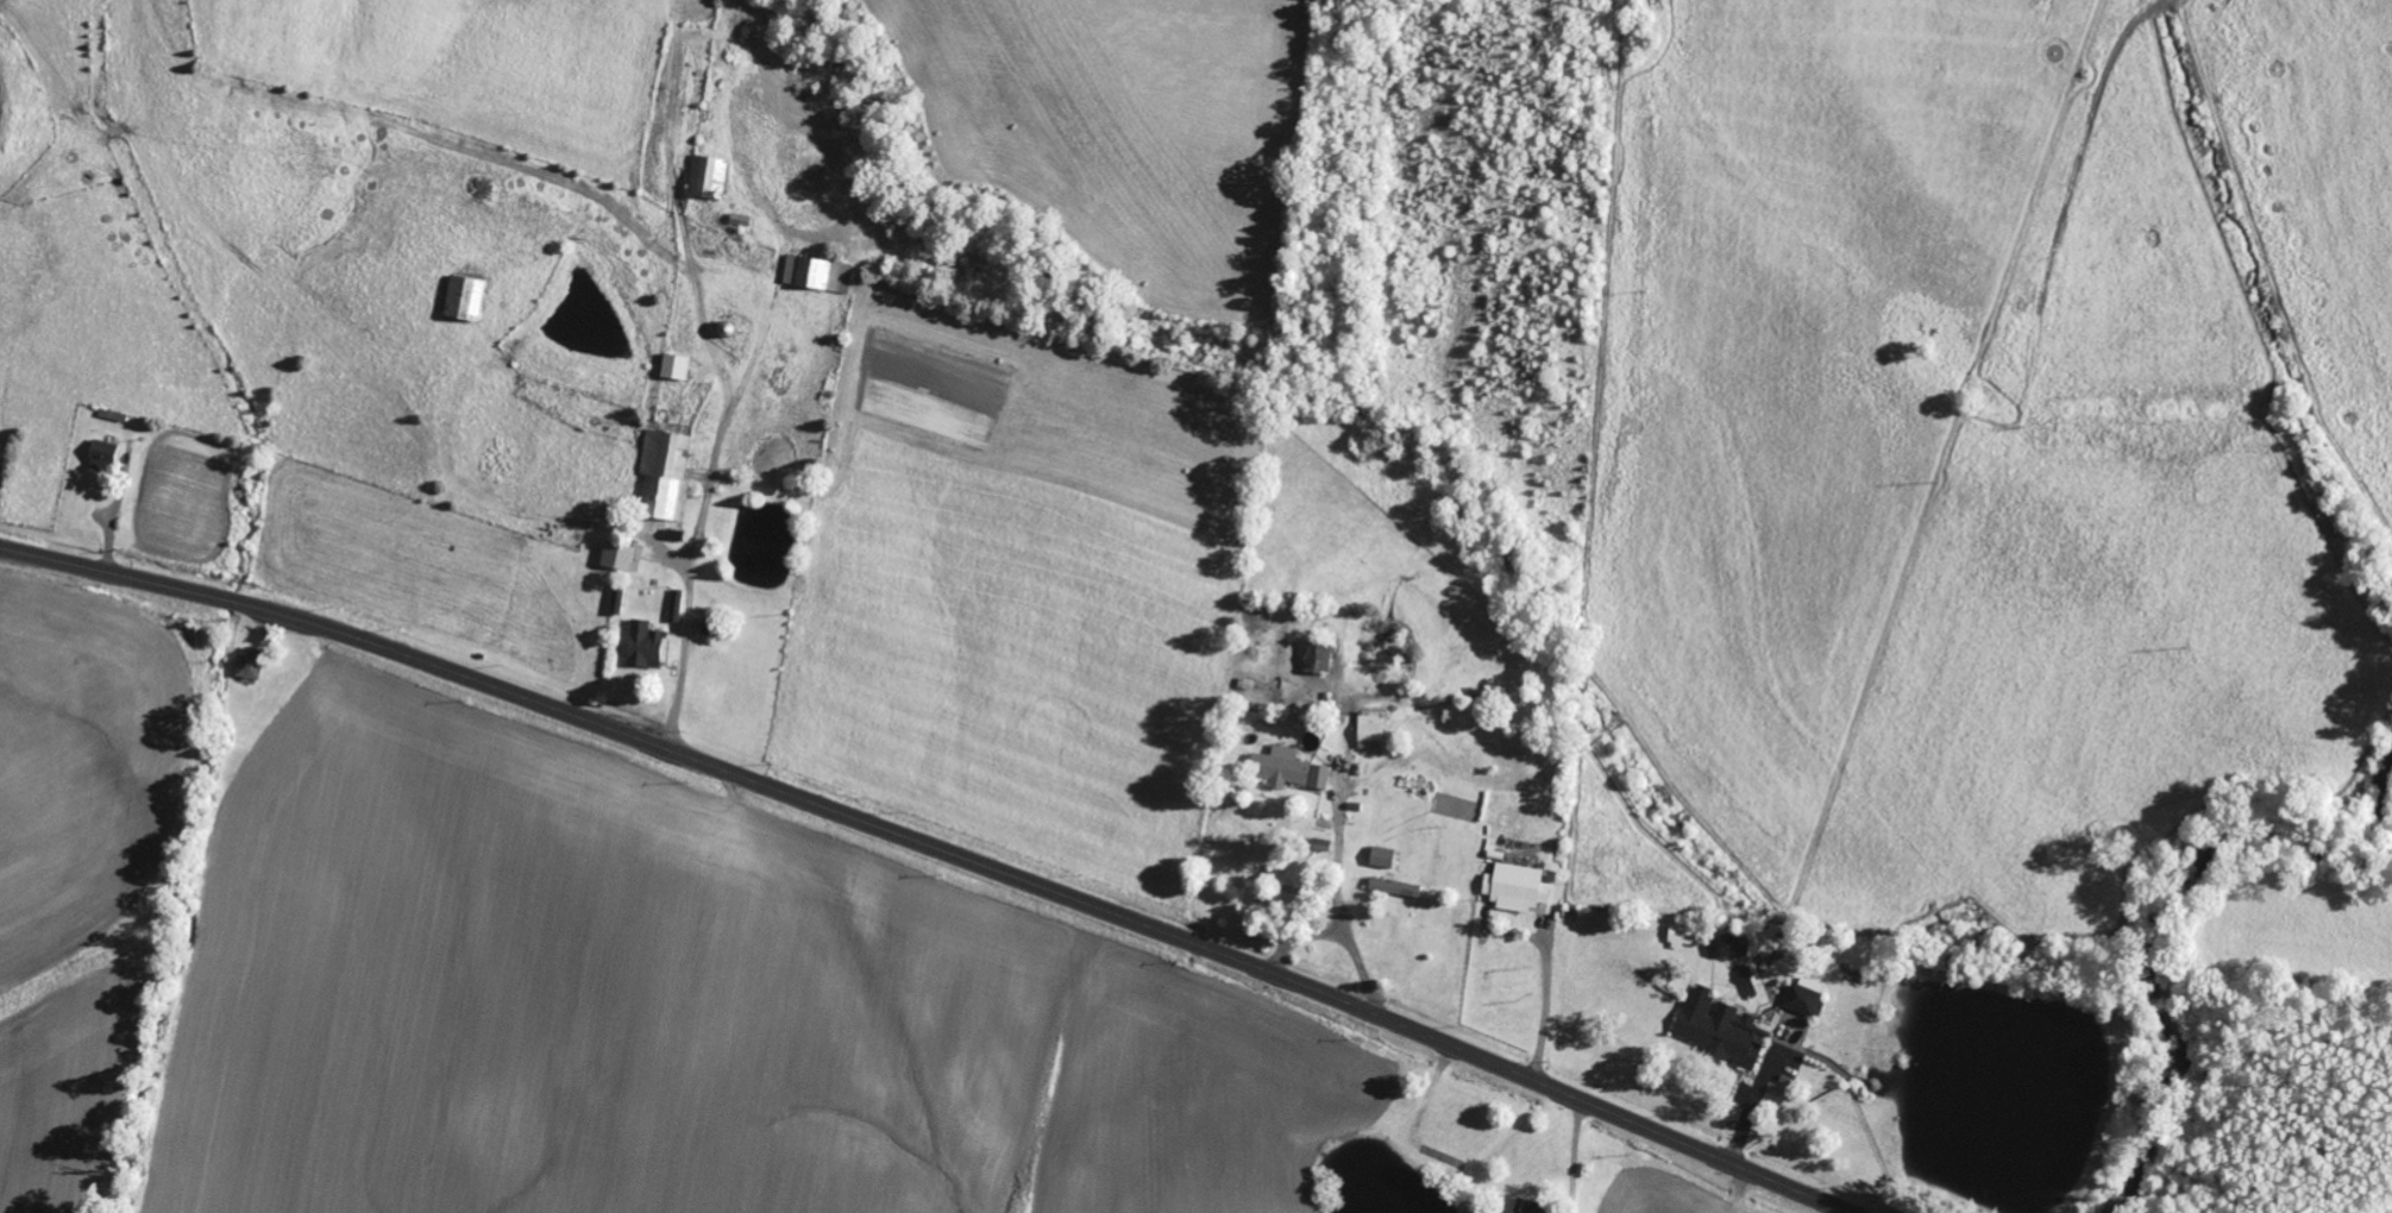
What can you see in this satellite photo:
building: (710, 178)
building: (821, 275)
building: (466, 300)
building: (677, 369)
building: (106, 455)
building: (667, 477)
building: (622, 559)
building: (679, 606)
building: (714, 628)
building: (648, 647)
building: (1320, 659)
building: (253, 664)
building: (1374, 725)
building: (1293, 769)
road: (934, 848)
building: (1386, 857)
building: (1398, 886)
building: (1519, 887)
building: (1731, 944)
road: (1426, 962)
building: (1807, 999)
building: (1722, 1029)
building: (1532, 1207)

